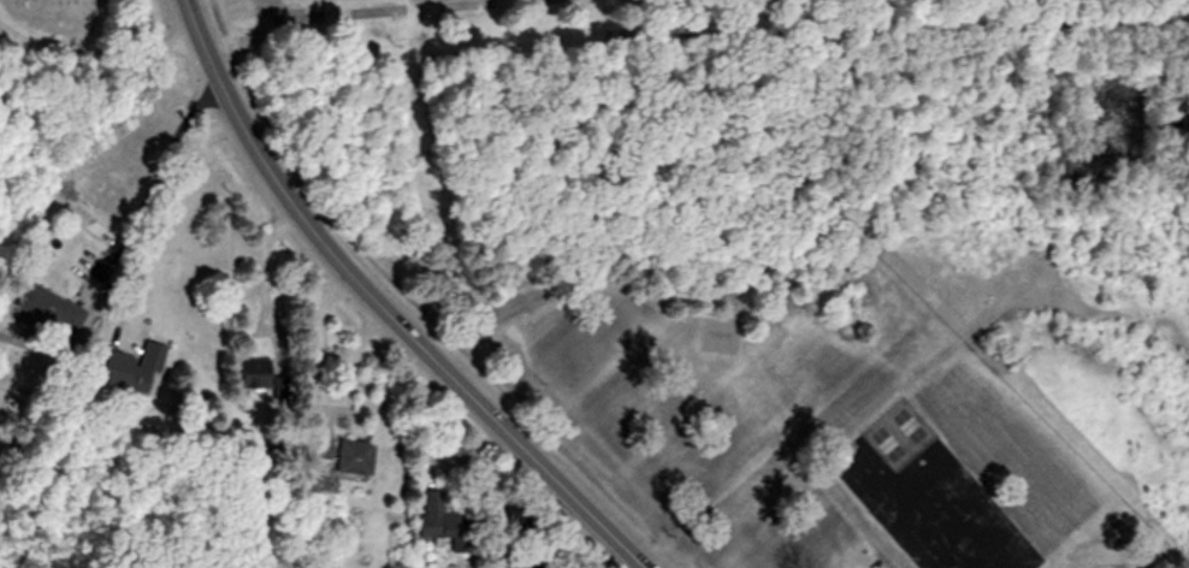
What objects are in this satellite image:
park: (89, 29)
road: (93, 49)
road: (167, 209)
road: (380, 304)
building: (141, 368)
building: (270, 383)
building: (360, 456)
building: (444, 516)

